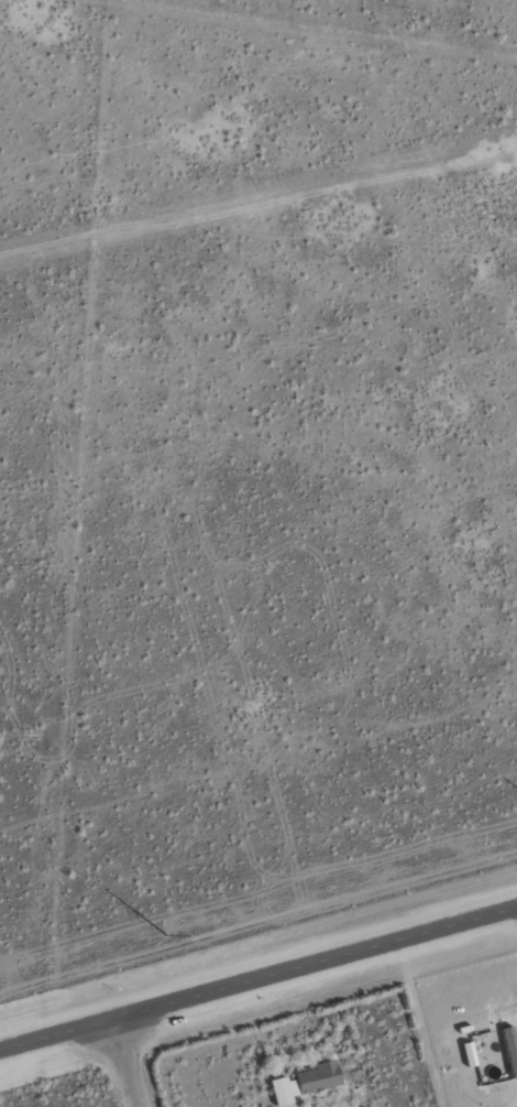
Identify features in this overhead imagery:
power tower: (167, 937)
road: (258, 986)
building: (509, 1050)
building: (466, 1053)
road: (135, 1066)
building: (302, 1082)

